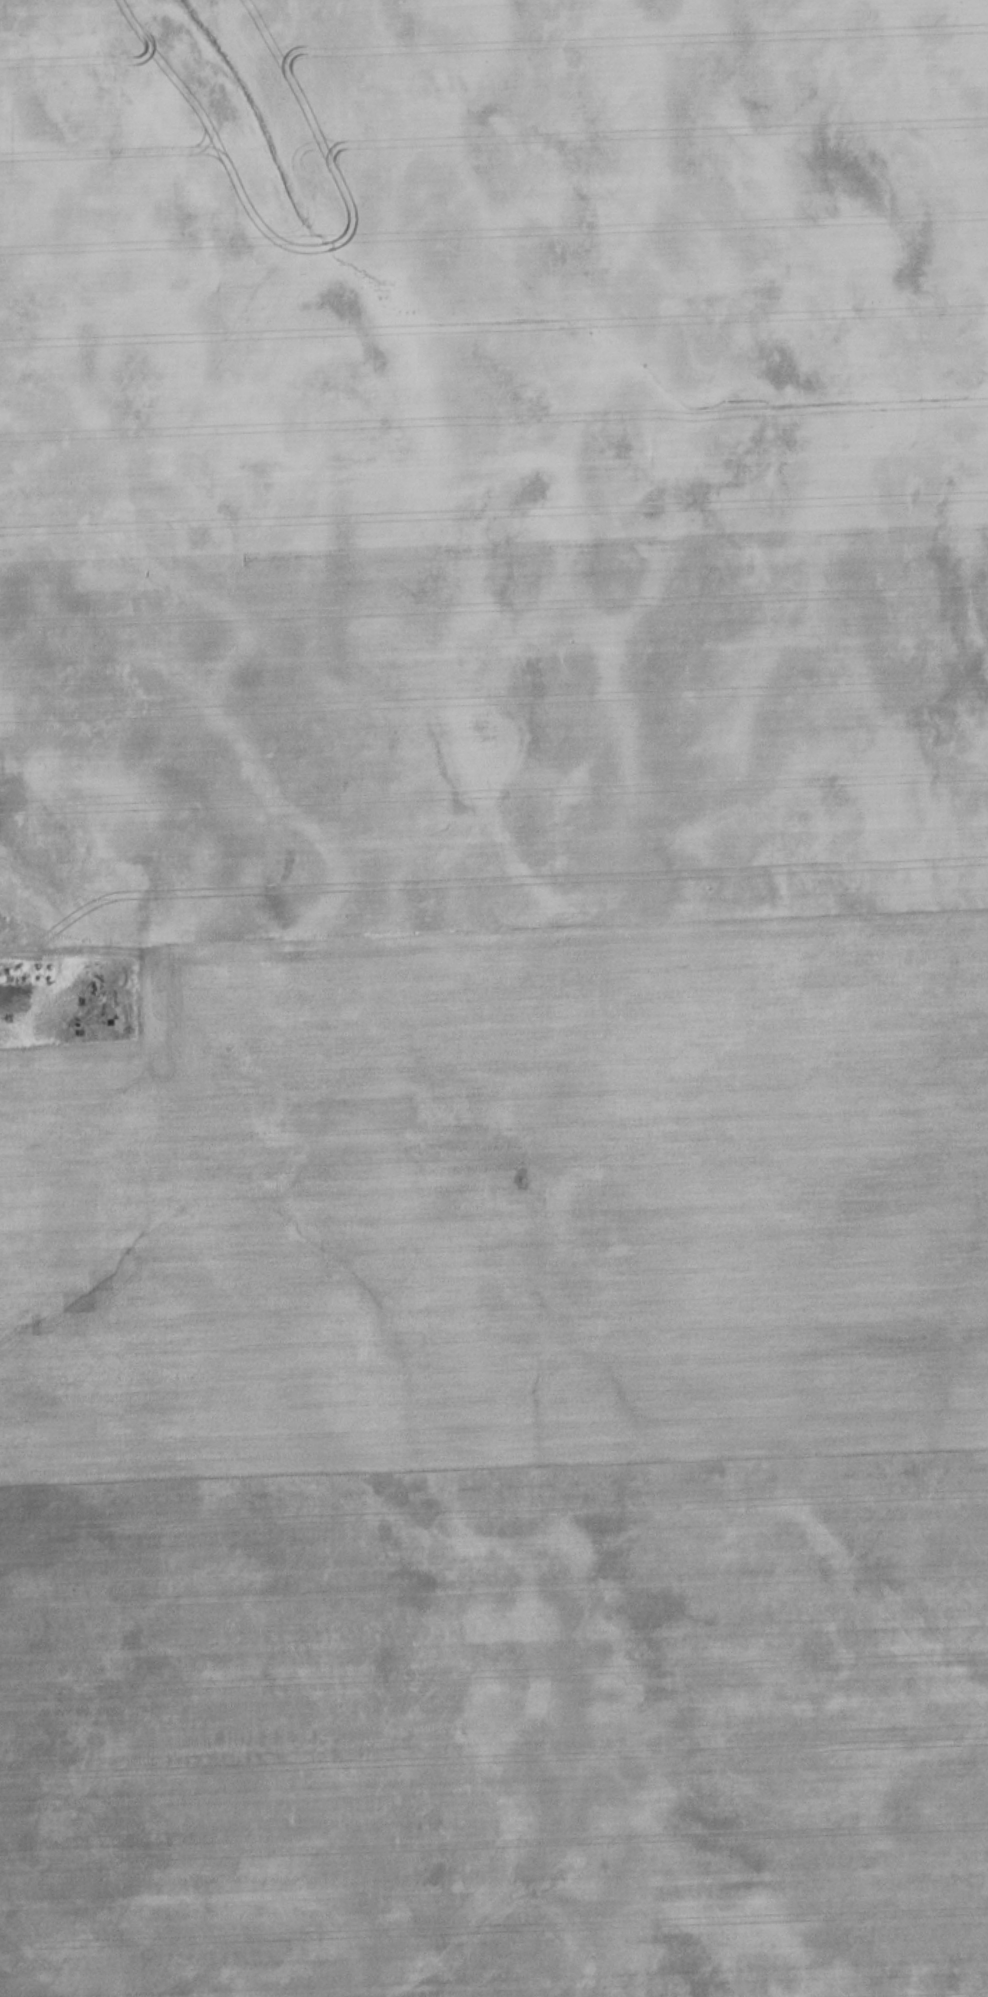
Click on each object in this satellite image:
building: (7, 929)

